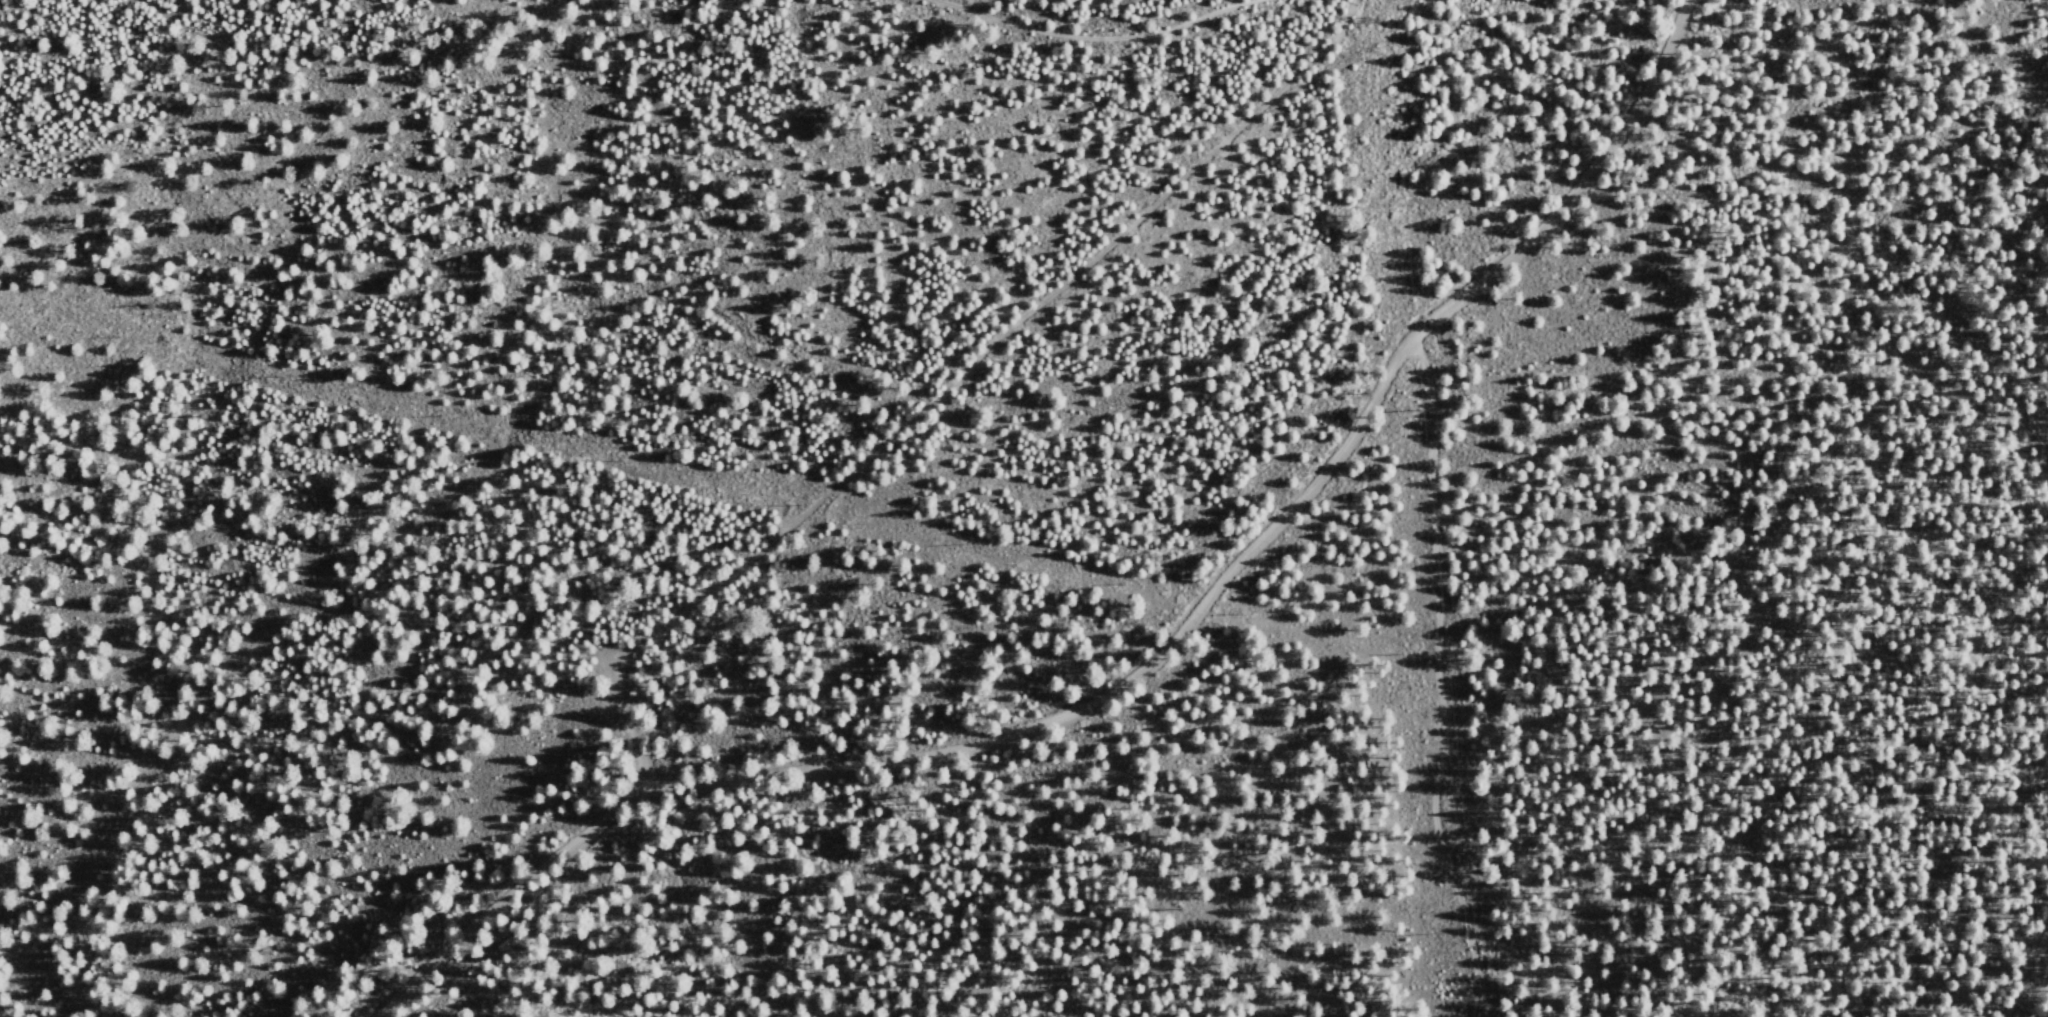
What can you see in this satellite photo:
power tower: (1365, 19)
road: (1100, 40)
road: (944, 387)
power tower: (1402, 411)
road: (1146, 664)
road: (1438, 679)
power tower: (1437, 789)
road: (2026, 961)

